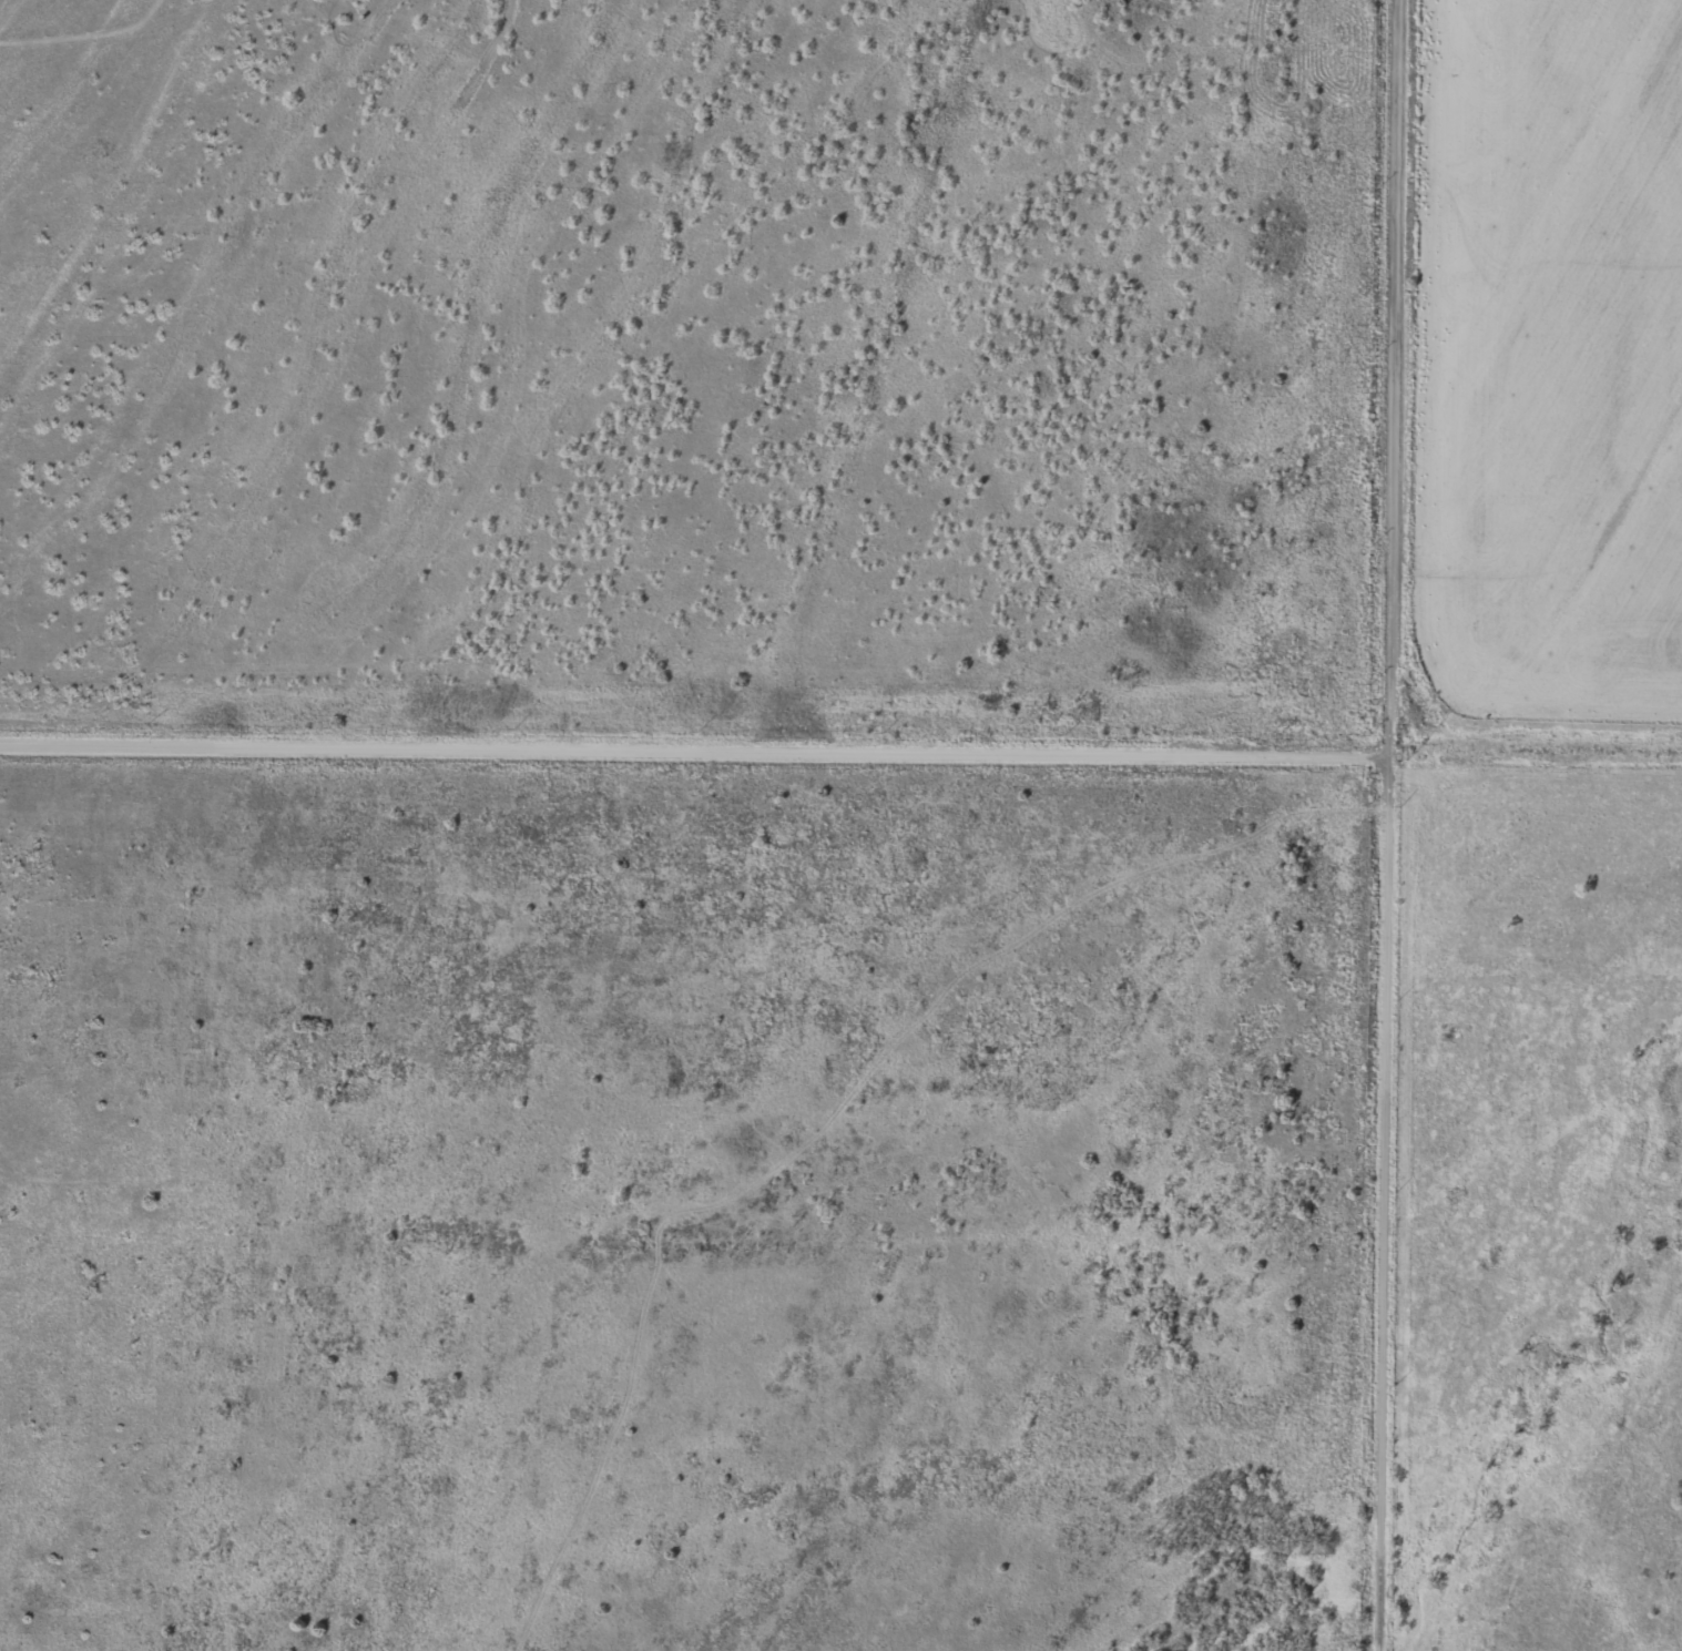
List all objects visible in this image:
road: (696, 745)
road: (1393, 825)

